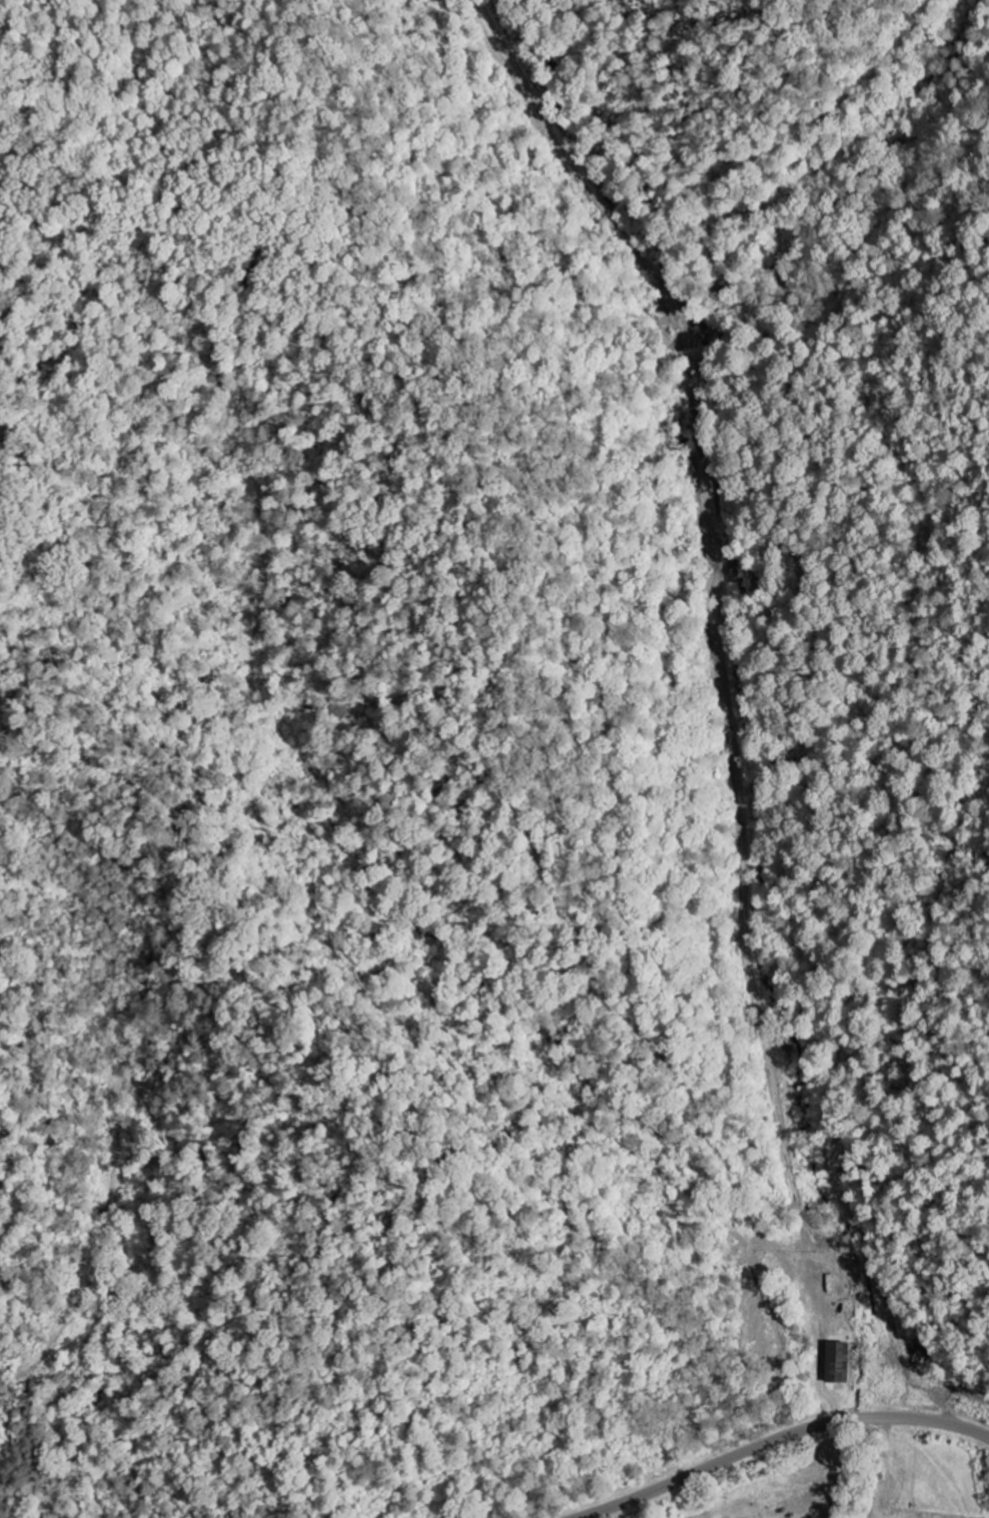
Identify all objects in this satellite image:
building: (842, 1361)
road: (778, 1438)

